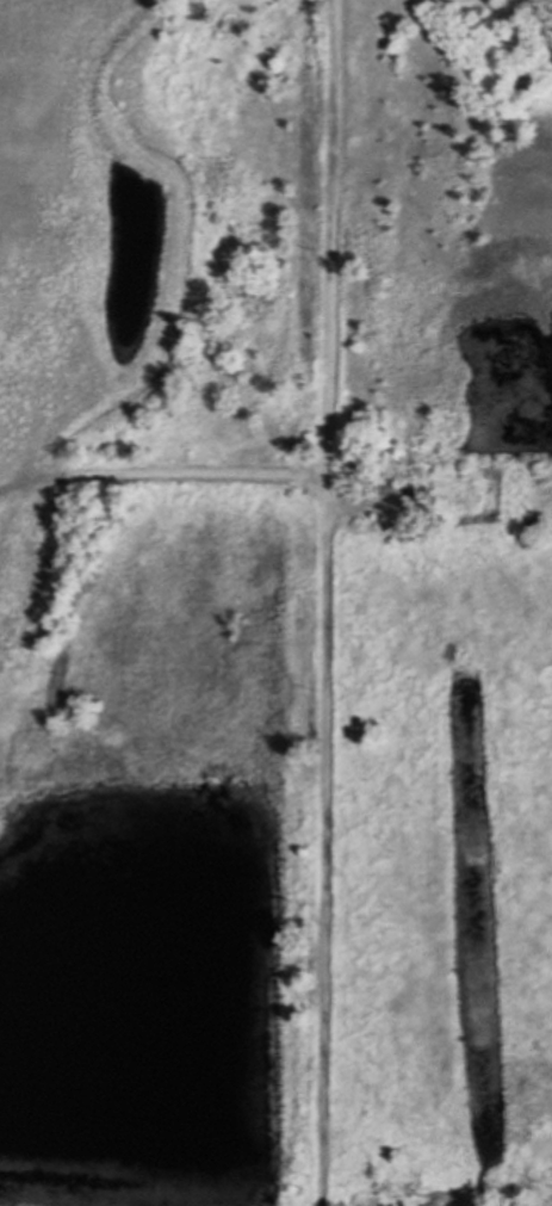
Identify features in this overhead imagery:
road: (330, 227)
road: (324, 830)

